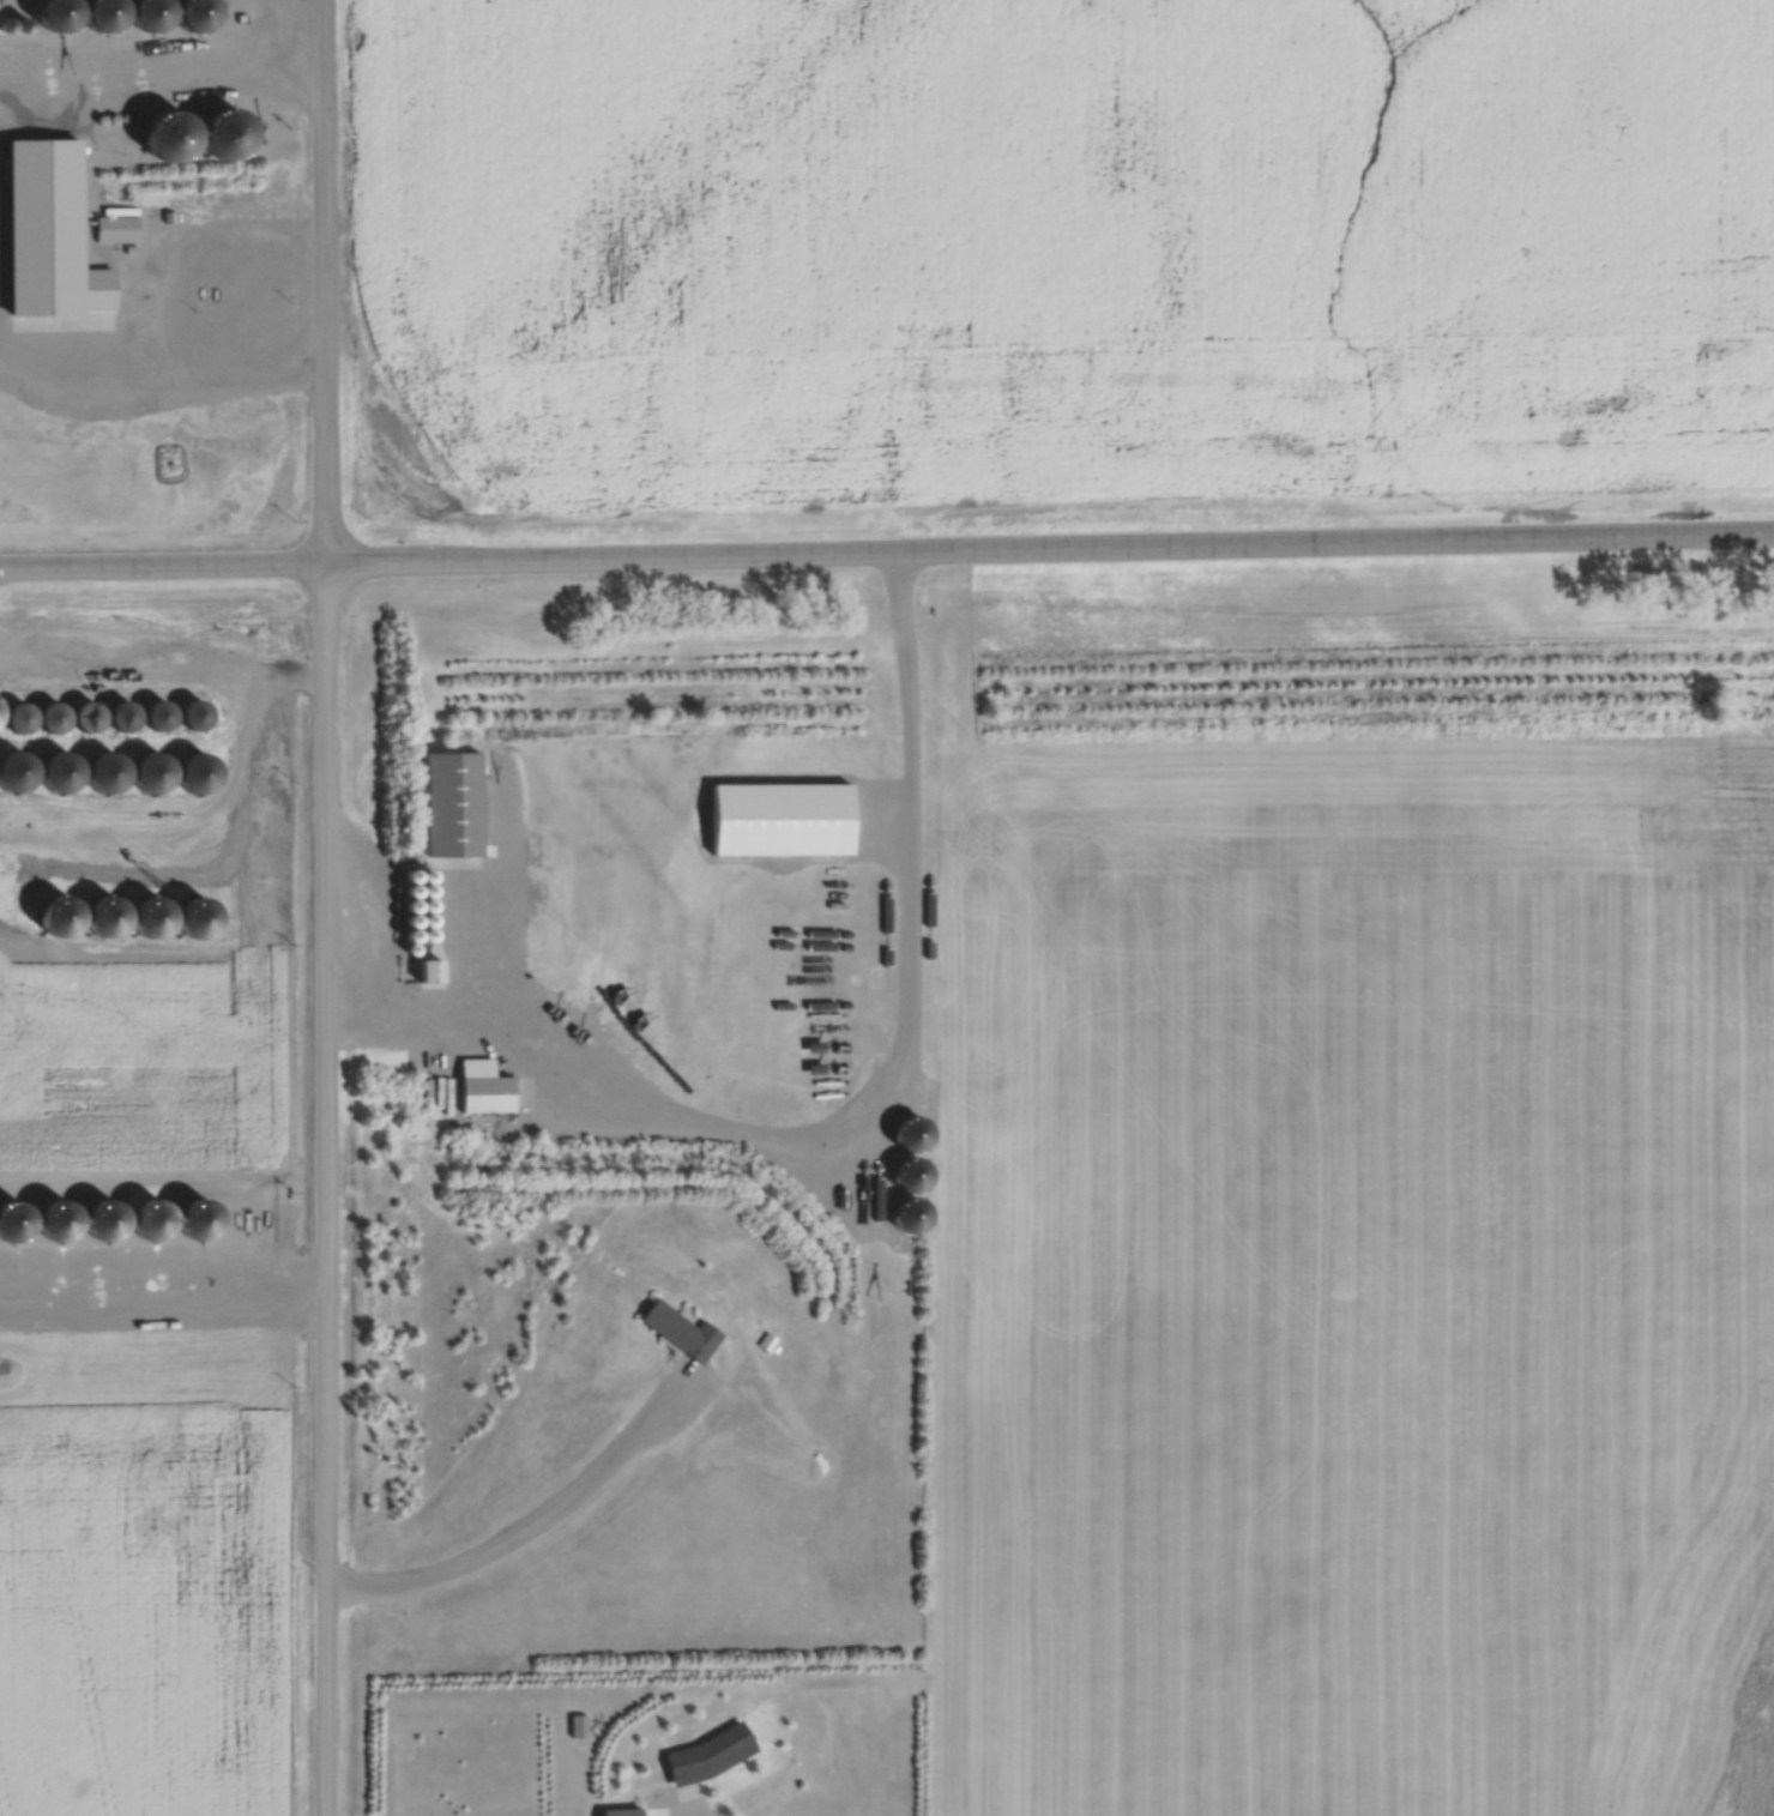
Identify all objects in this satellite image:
building: (114, 230)
building: (213, 290)
road: (887, 548)
building: (158, 714)
building: (50, 716)
building: (89, 716)
building: (122, 716)
building: (18, 717)
building: (16, 768)
building: (59, 770)
building: (107, 771)
building: (152, 772)
road: (325, 907)
building: (488, 1093)
building: (680, 1331)
building: (762, 1340)
building: (574, 1725)
building: (707, 1755)

